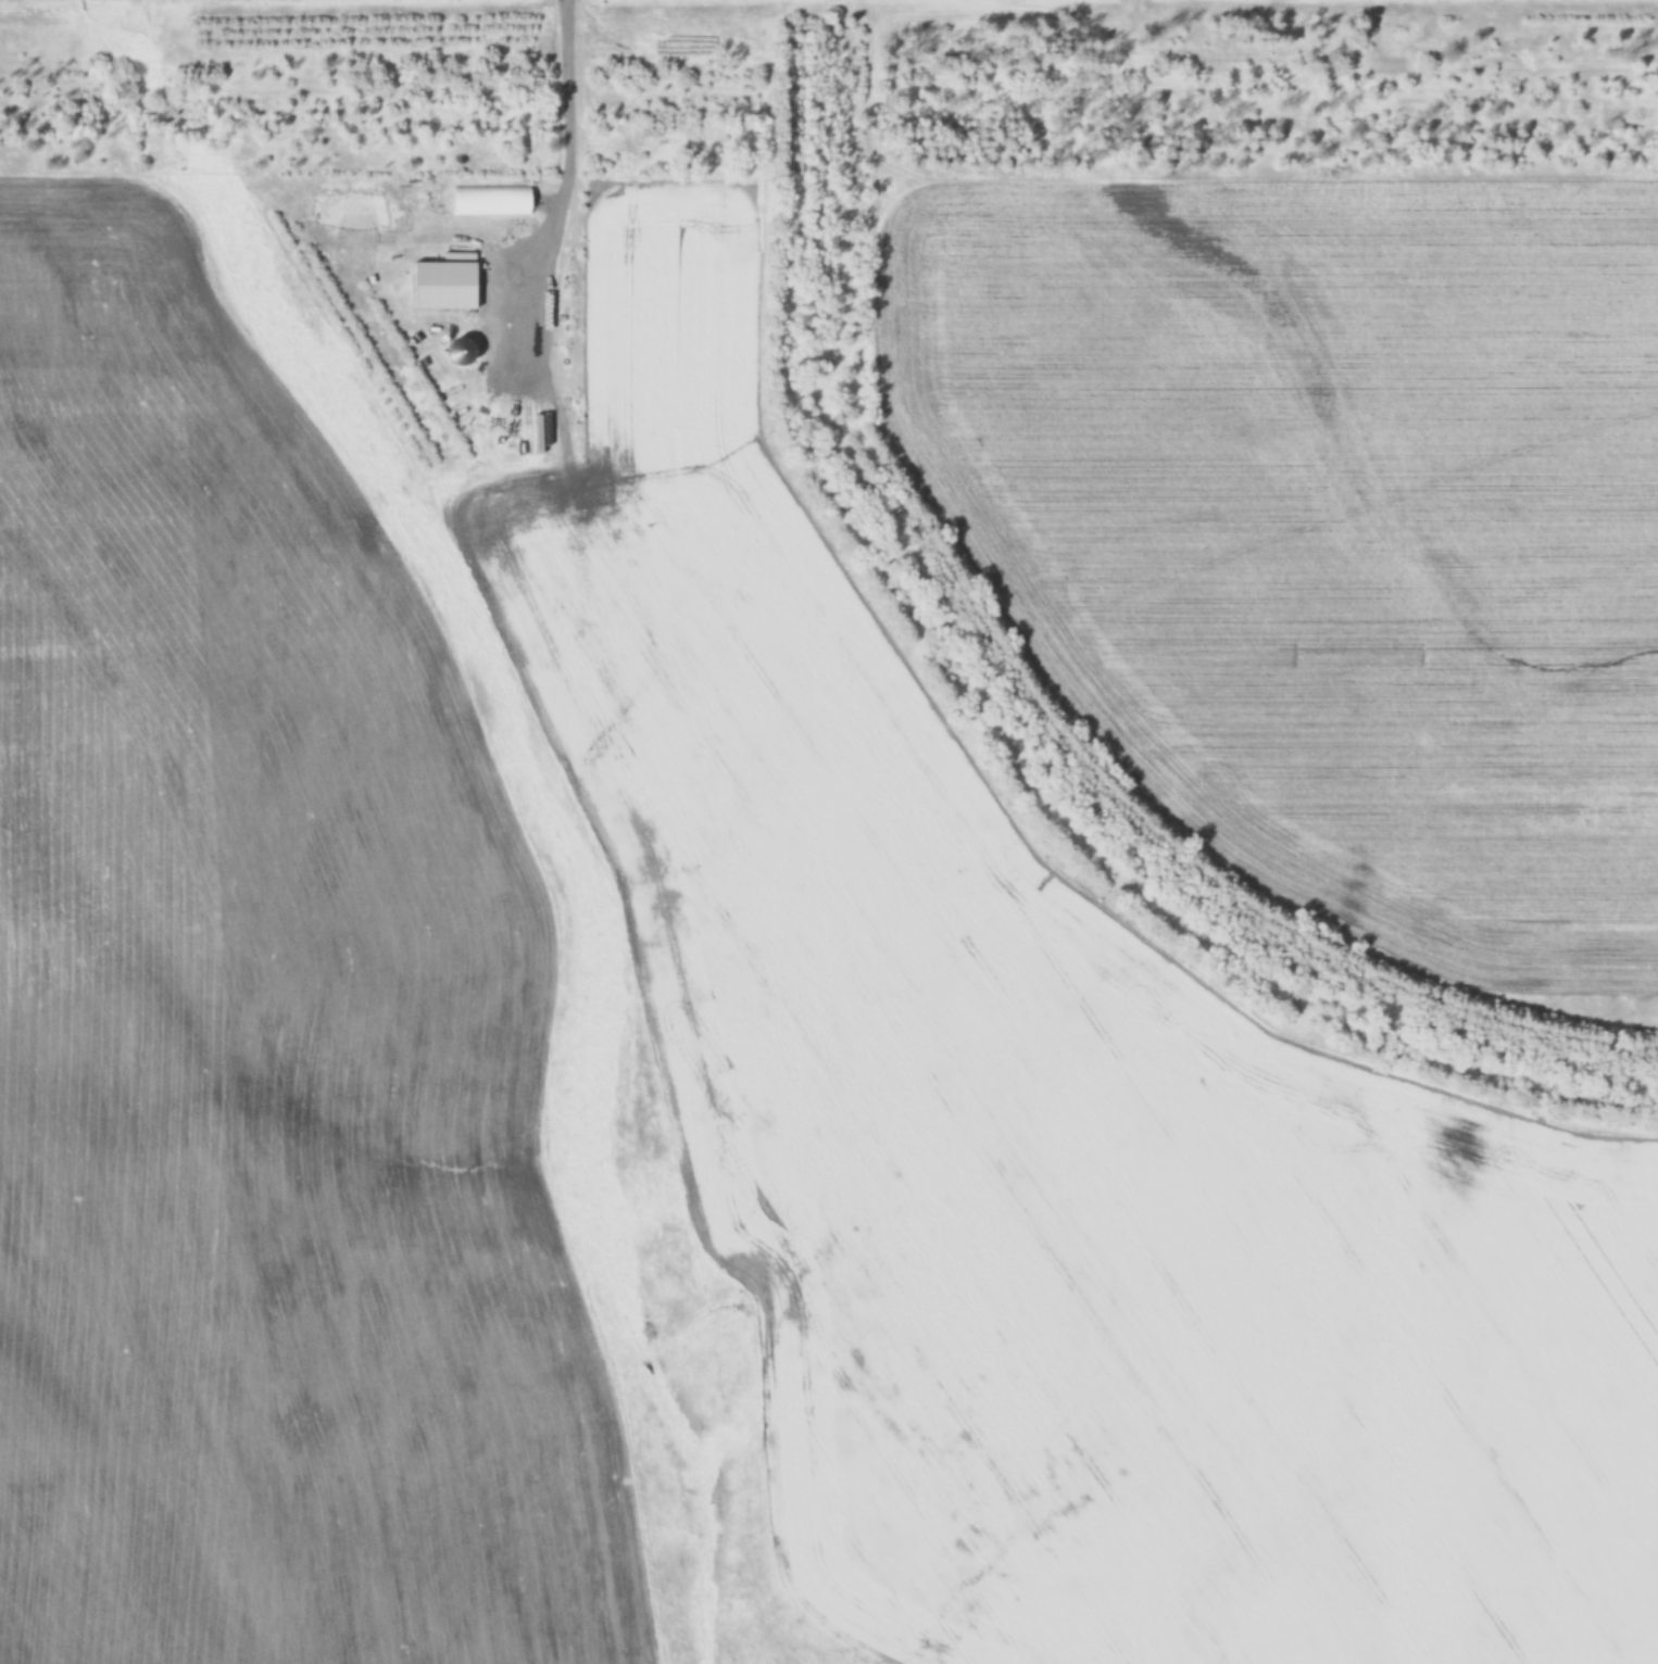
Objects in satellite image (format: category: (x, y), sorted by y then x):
road: (568, 147)
building: (492, 201)
building: (444, 286)
building: (552, 342)
building: (526, 350)

